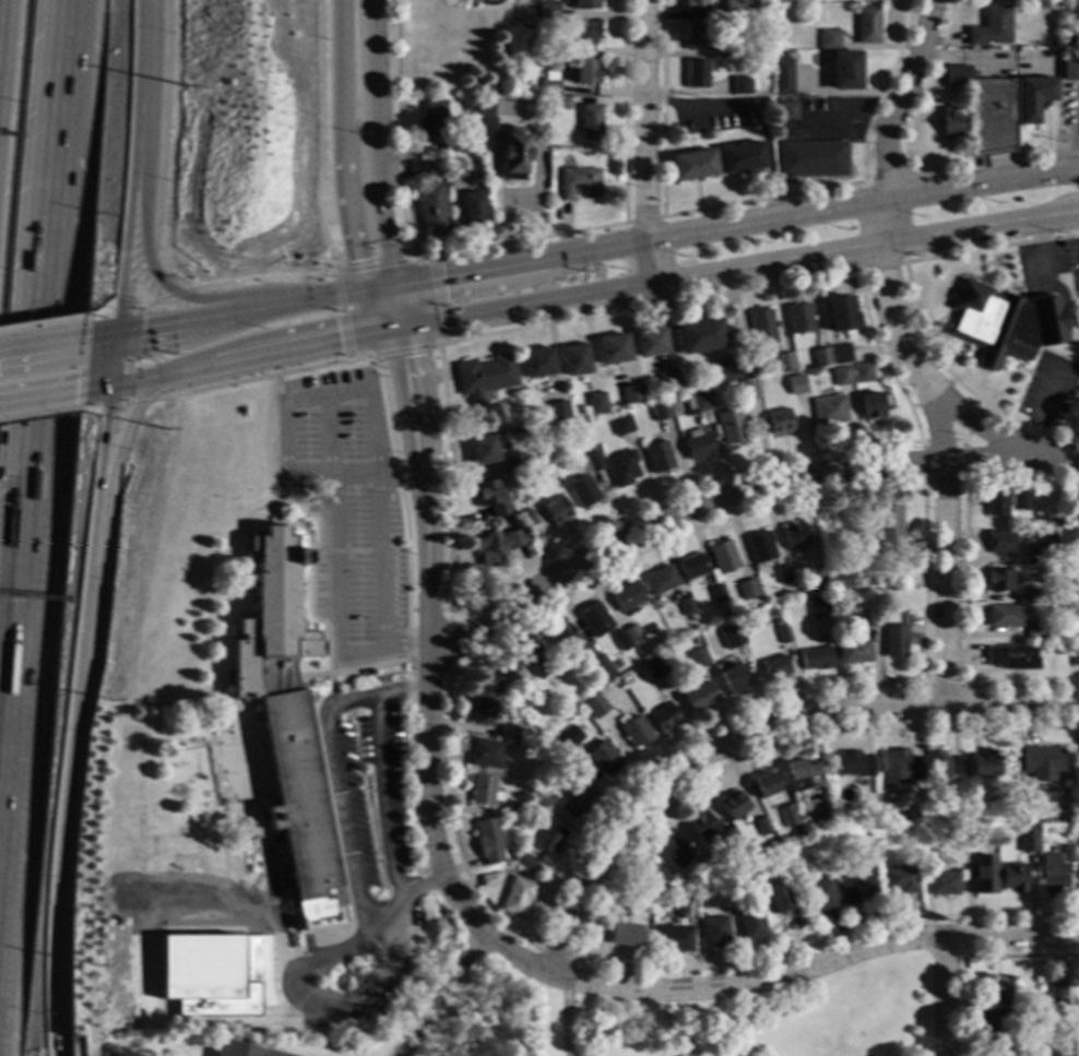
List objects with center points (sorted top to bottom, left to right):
building: (870, 0)
building: (1013, 1)
building: (1076, 1)
building: (584, 4)
building: (696, 5)
building: (733, 9)
building: (545, 10)
building: (763, 10)
building: (867, 25)
building: (989, 27)
building: (583, 33)
building: (696, 36)
building: (1069, 39)
building: (829, 40)
road: (355, 46)
building: (730, 50)
building: (553, 51)
building: (1069, 68)
building: (845, 71)
building: (585, 72)
building: (696, 74)
building: (782, 75)
road: (142, 84)
building: (740, 85)
power tower: (183, 87)
building: (549, 87)
building: (1032, 98)
building: (558, 103)
building: (482, 108)
building: (786, 111)
building: (986, 112)
building: (431, 120)
building: (590, 122)
road: (850, 122)
building: (952, 123)
building: (486, 128)
building: (705, 135)
road: (647, 141)
road: (59, 144)
building: (460, 144)
building: (513, 154)
building: (742, 157)
building: (811, 159)
building: (692, 165)
building: (453, 169)
building: (417, 170)
road: (870, 181)
building: (579, 182)
road: (371, 189)
road: (345, 191)
building: (430, 209)
building: (473, 209)
road: (319, 211)
road: (644, 219)
road: (735, 226)
road: (521, 241)
road: (123, 251)
traffic signals: (357, 262)
road: (375, 265)
road: (881, 266)
road: (742, 269)
road: (1052, 280)
traffic signals: (443, 281)
road: (381, 289)
road: (181, 296)
road: (436, 299)
road: (150, 302)
road: (913, 306)
traffic signals: (117, 307)
road: (399, 308)
road: (376, 311)
road: (98, 313)
road: (240, 313)
building: (841, 315)
road: (341, 317)
building: (798, 318)
road: (43, 322)
building: (1003, 323)
building: (761, 324)
road: (936, 327)
road: (394, 330)
traffic signals: (140, 331)
road: (102, 336)
building: (700, 336)
road: (405, 339)
road: (1076, 340)
traffic signals: (339, 341)
road: (394, 341)
building: (650, 343)
road: (45, 346)
building: (613, 349)
road: (401, 351)
road: (904, 351)
building: (840, 354)
road: (128, 356)
road: (263, 356)
road: (947, 356)
building: (820, 357)
traffic signals: (406, 358)
road: (110, 360)
building: (574, 360)
building: (537, 363)
building: (784, 363)
building: (859, 369)
building: (731, 370)
road: (1024, 370)
building: (485, 377)
building: (841, 377)
building: (667, 379)
road: (127, 383)
road: (1024, 383)
building: (795, 384)
road: (98, 388)
parking lot: (1048, 388)
building: (714, 390)
building: (747, 390)
traffic signals: (74, 392)
building: (631, 395)
road: (44, 396)
road: (287, 402)
building: (595, 403)
building: (700, 403)
road: (124, 405)
building: (870, 405)
road: (1042, 406)
road: (95, 410)
road: (388, 410)
building: (558, 411)
building: (660, 411)
building: (829, 411)
road: (45, 415)
traffic signals: (106, 417)
building: (779, 422)
building: (621, 426)
road: (980, 426)
building: (731, 428)
power tower: (162, 430)
road: (414, 432)
building: (698, 444)
road: (837, 449)
building: (483, 450)
road: (118, 451)
road: (102, 454)
building: (659, 458)
building: (513, 463)
building: (590, 464)
building: (621, 468)
road: (923, 479)
building: (582, 491)
road: (732, 496)
building: (491, 498)
building: (1021, 501)
building: (995, 502)
building: (1075, 506)
parking lot: (346, 510)
building: (556, 511)
building: (529, 519)
road: (295, 523)
building: (890, 530)
building: (1018, 534)
building: (793, 536)
building: (999, 542)
building: (496, 546)
road: (335, 547)
building: (760, 547)
road: (346, 551)
building: (1039, 554)
building: (722, 557)
building: (829, 563)
road: (382, 565)
building: (690, 567)
building: (815, 568)
building: (782, 574)
road: (25, 577)
building: (659, 581)
building: (997, 581)
road: (963, 582)
building: (747, 589)
road: (86, 593)
building: (884, 593)
building: (716, 595)
building: (1035, 595)
building: (628, 598)
building: (818, 606)
building: (685, 607)
building: (1004, 616)
building: (866, 619)
building: (594, 620)
building: (778, 622)
road: (447, 624)
building: (1033, 631)
building: (731, 633)
building: (632, 634)
building: (782, 634)
building: (566, 639)
building: (620, 640)
building: (894, 641)
building: (853, 652)
building: (1011, 657)
building: (1074, 657)
building: (697, 658)
building: (815, 658)
building: (534, 661)
building: (602, 667)
building: (774, 667)
road: (352, 669)
building: (653, 671)
building: (506, 679)
building: (732, 679)
building: (665, 684)
road: (926, 686)
building: (699, 697)
power tower: (109, 701)
building: (595, 707)
building: (482, 712)
road: (447, 720)
building: (664, 720)
building: (287, 722)
building: (636, 733)
road: (752, 733)
building: (508, 734)
building: (561, 739)
building: (1078, 745)
building: (486, 755)
building: (604, 759)
building: (1040, 762)
building: (852, 764)
building: (983, 764)
building: (939, 766)
building: (825, 770)
building: (898, 770)
road: (428, 772)
building: (803, 775)
parking lot: (387, 779)
building: (764, 785)
building: (482, 791)
road: (382, 794)
building: (541, 798)
building: (574, 798)
building: (1004, 799)
parking lot: (357, 804)
building: (733, 805)
building: (514, 810)
building: (787, 816)
building: (842, 819)
building: (701, 826)
road: (334, 827)
building: (761, 827)
building: (1029, 837)
building: (549, 839)
building: (730, 839)
building: (1078, 840)
building: (488, 842)
building: (673, 852)
building: (1067, 853)
road: (58, 859)
building: (930, 859)
building: (525, 863)
building: (708, 865)
road: (1, 869)
building: (1053, 875)
building: (982, 877)
building: (1015, 877)
building: (652, 878)
building: (899, 879)
building: (489, 880)
building: (944, 885)
building: (855, 890)
building: (1078, 894)
building: (635, 895)
building: (822, 895)
building: (517, 897)
building: (782, 902)
building: (621, 905)
road: (591, 911)
road: (382, 912)
road: (366, 923)
building: (750, 923)
building: (714, 933)
building: (624, 935)
road: (957, 935)
building: (672, 939)
road: (566, 954)
road: (971, 954)
road: (1, 959)
power tower: (94, 965)
road: (815, 966)
building: (205, 978)
building: (1056, 989)
building: (997, 992)
road: (440, 993)
road: (944, 997)
building: (1070, 998)
road: (567, 1018)
park: (703, 1018)
building: (998, 1023)
building: (1034, 1035)
building: (239, 1051)
building: (997, 1051)

